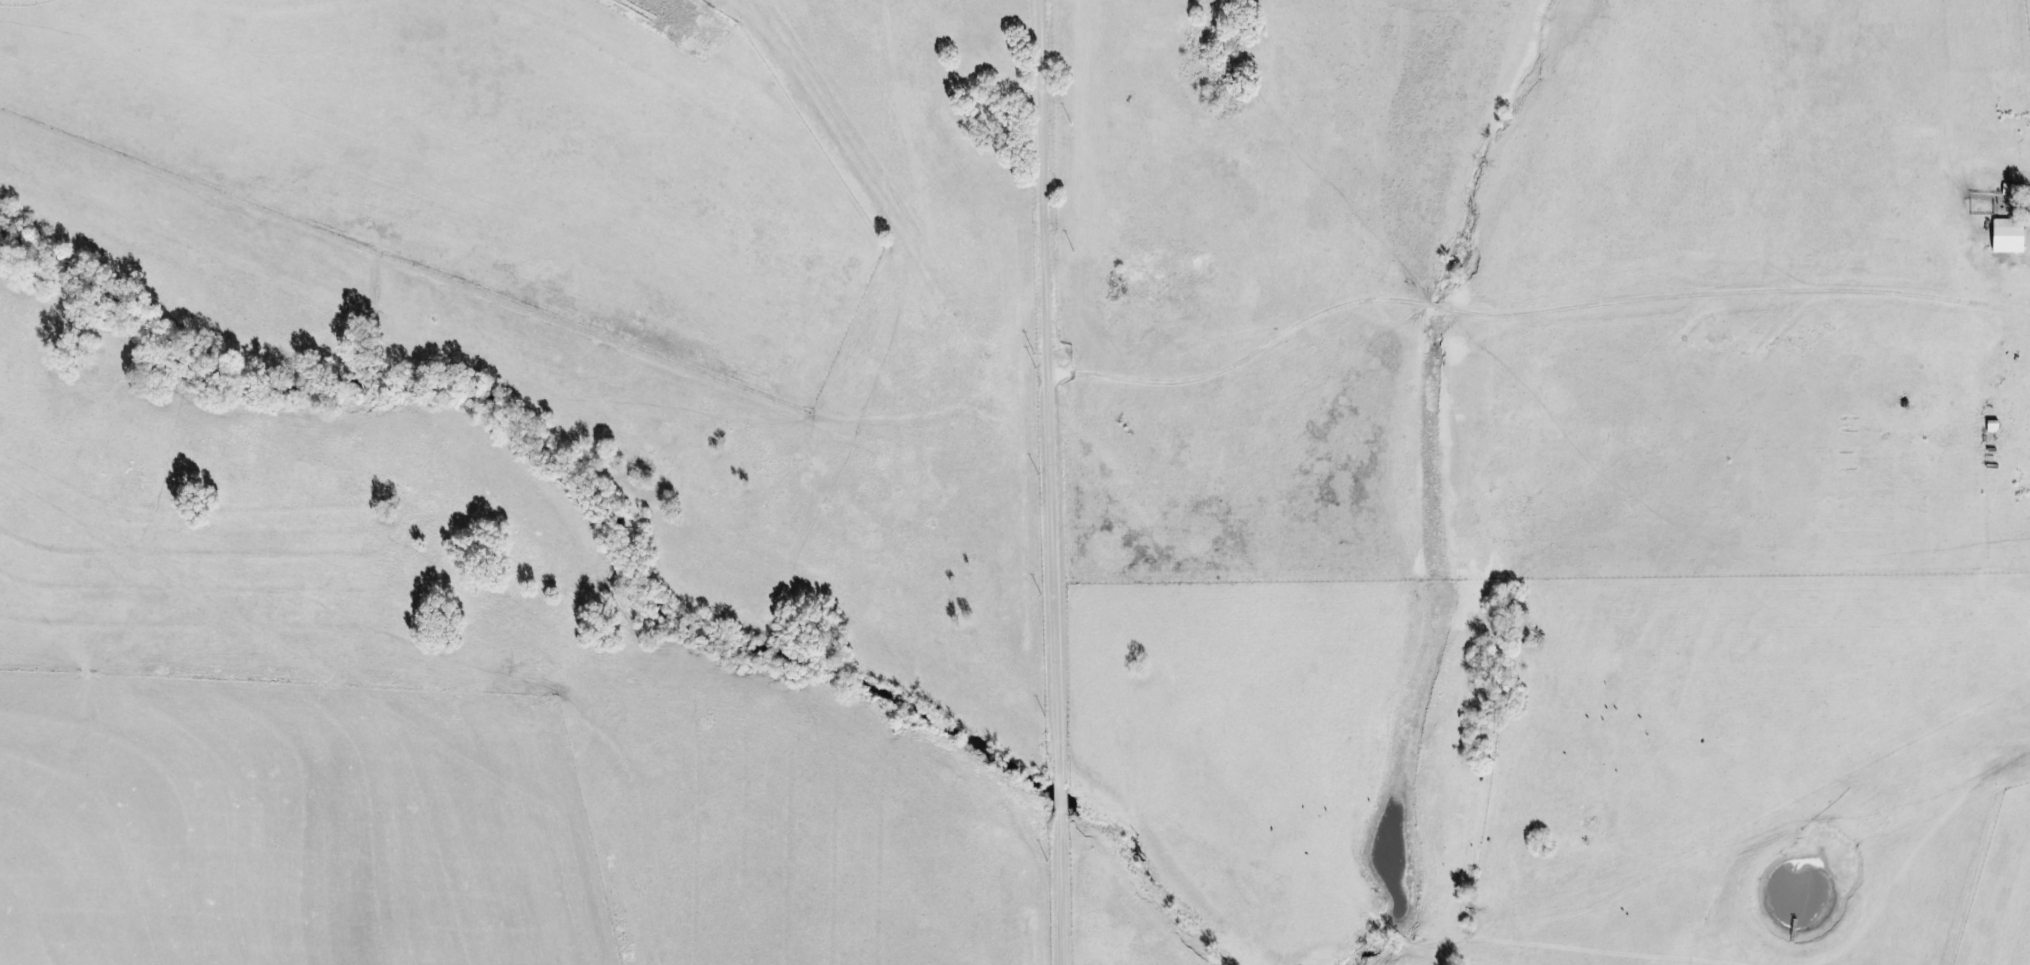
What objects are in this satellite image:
building: (2029, 204)
building: (2009, 235)
road: (1532, 336)
road: (1057, 482)

